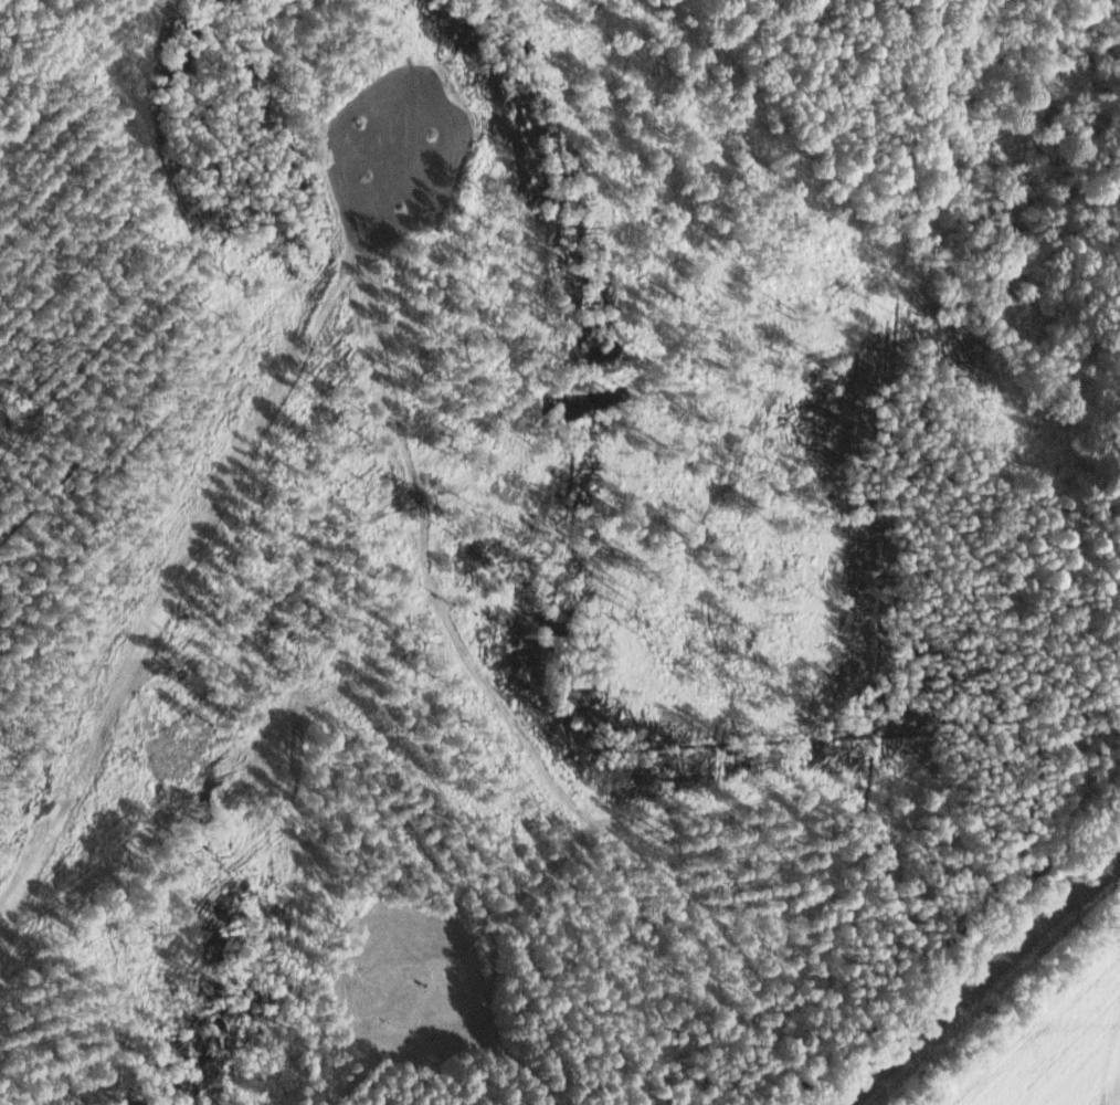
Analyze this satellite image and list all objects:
railway: (981, 978)

